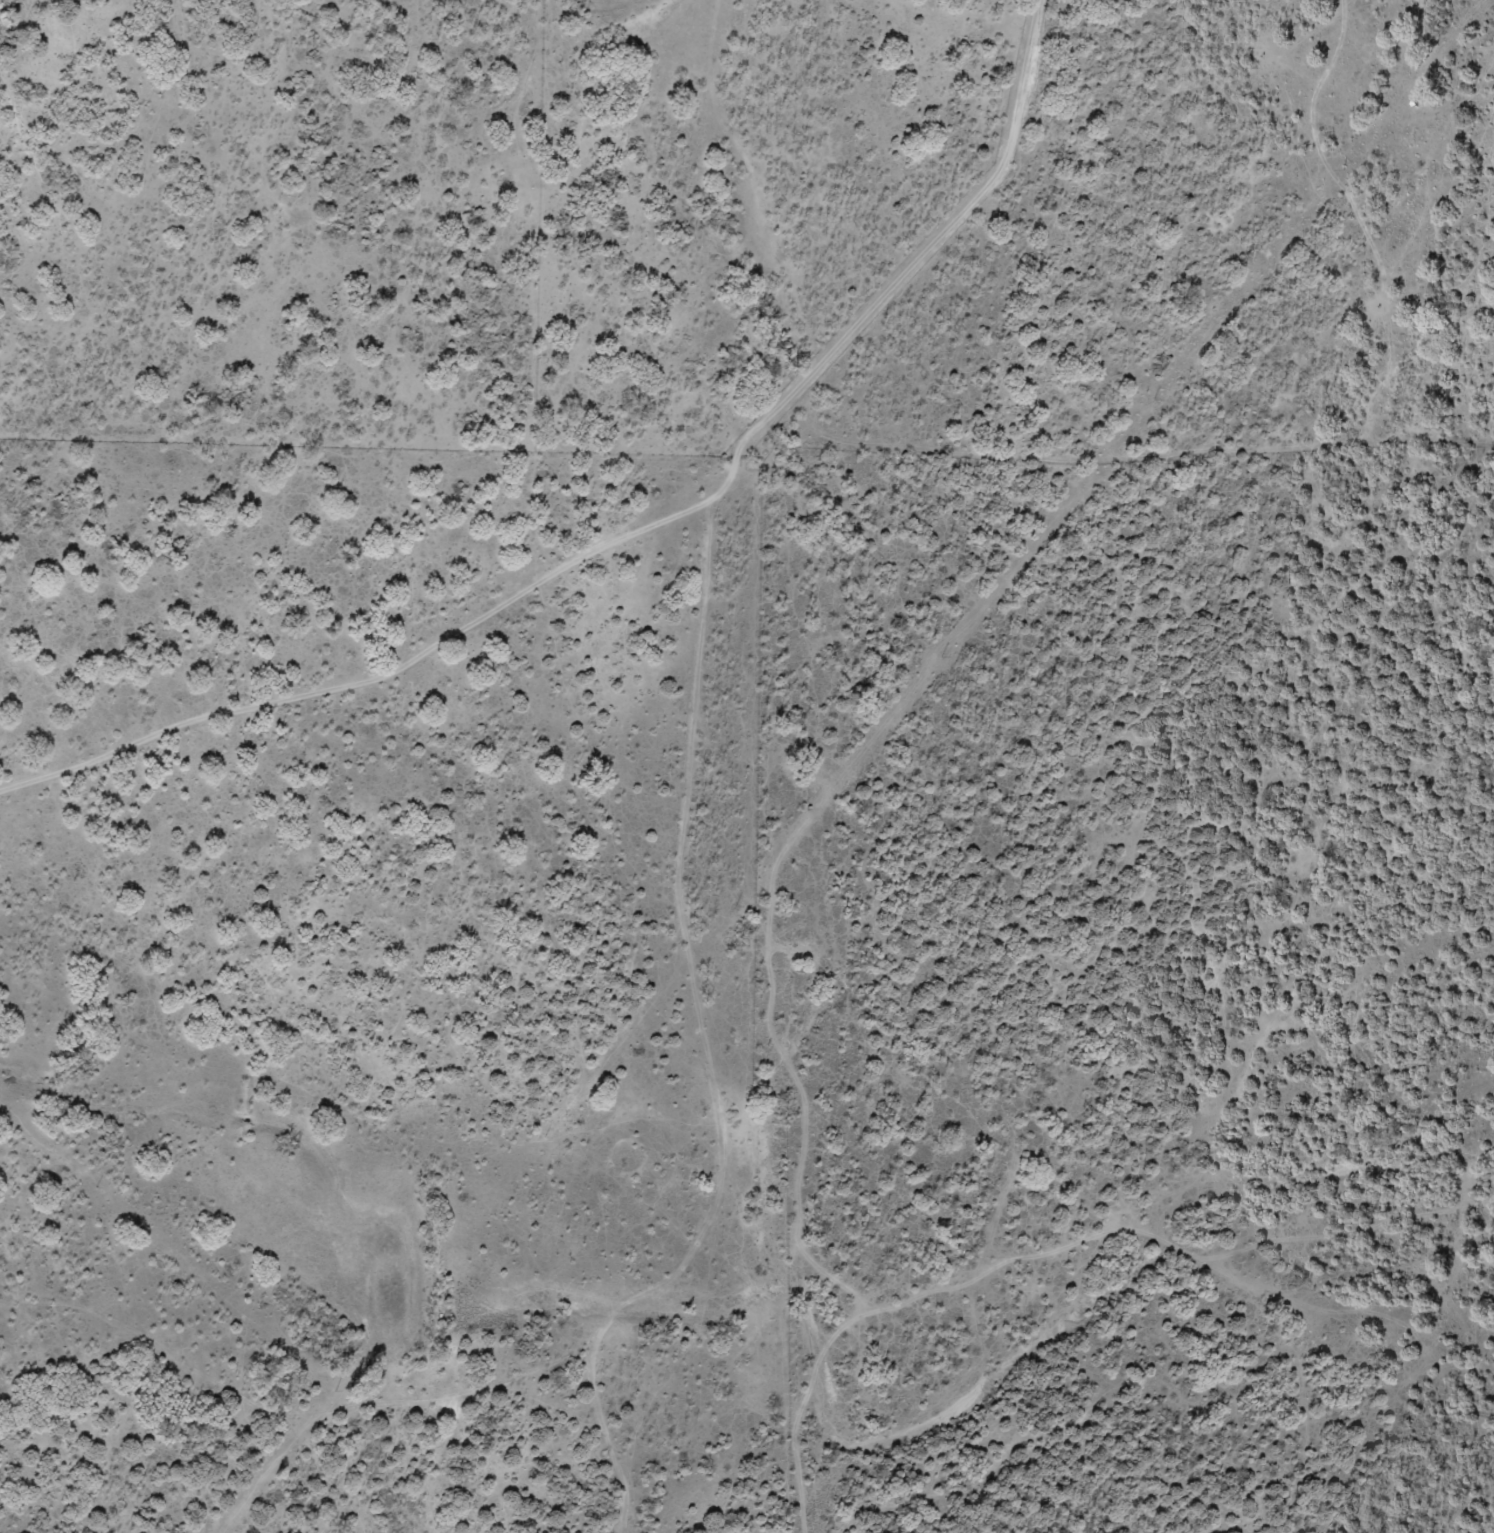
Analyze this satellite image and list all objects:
road: (651, 546)

